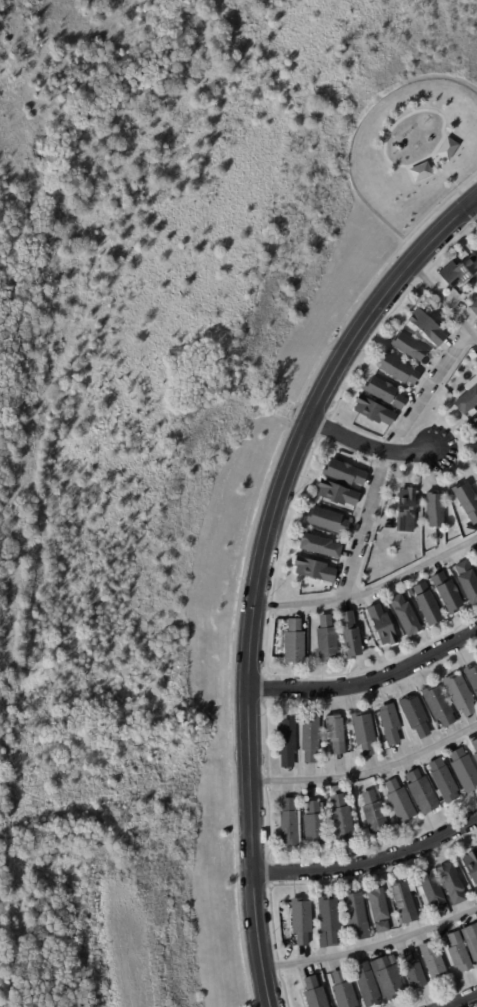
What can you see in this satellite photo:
building: (447, 148)
park: (214, 152)
building: (420, 173)
road: (473, 207)
building: (462, 271)
road: (447, 299)
building: (474, 307)
building: (426, 327)
building: (409, 347)
building: (407, 360)
building: (397, 369)
building: (383, 392)
building: (467, 396)
building: (372, 411)
building: (474, 428)
road: (370, 445)
road: (387, 455)
building: (343, 473)
building: (335, 493)
building: (466, 502)
building: (405, 510)
building: (434, 510)
building: (326, 521)
building: (319, 546)
building: (476, 555)
road: (262, 570)
building: (314, 570)
building: (467, 582)
road: (371, 587)
building: (446, 594)
building: (426, 605)
building: (404, 615)
building: (381, 626)
building: (349, 636)
building: (325, 640)
building: (293, 643)
building: (472, 677)
road: (371, 679)
building: (459, 694)
building: (438, 706)
building: (414, 717)
building: (389, 725)
building: (334, 734)
building: (363, 734)
building: (311, 740)
building: (287, 743)
building: (474, 749)
road: (371, 770)
building: (463, 771)
building: (442, 781)
building: (421, 793)
building: (399, 803)
building: (373, 814)
building: (341, 820)
building: (288, 824)
building: (313, 824)
road: (371, 860)
building: (470, 865)
building: (451, 883)
building: (431, 890)
building: (403, 901)
building: (377, 904)
building: (355, 912)
building: (328, 918)
building: (300, 920)
building: (399, 920)
building: (381, 926)
building: (471, 940)
road: (374, 944)
building: (458, 952)
building: (391, 959)
building: (432, 962)
building: (411, 970)
building: (387, 978)
building: (366, 984)
building: (342, 990)
building: (314, 993)
road: (465, 1002)

